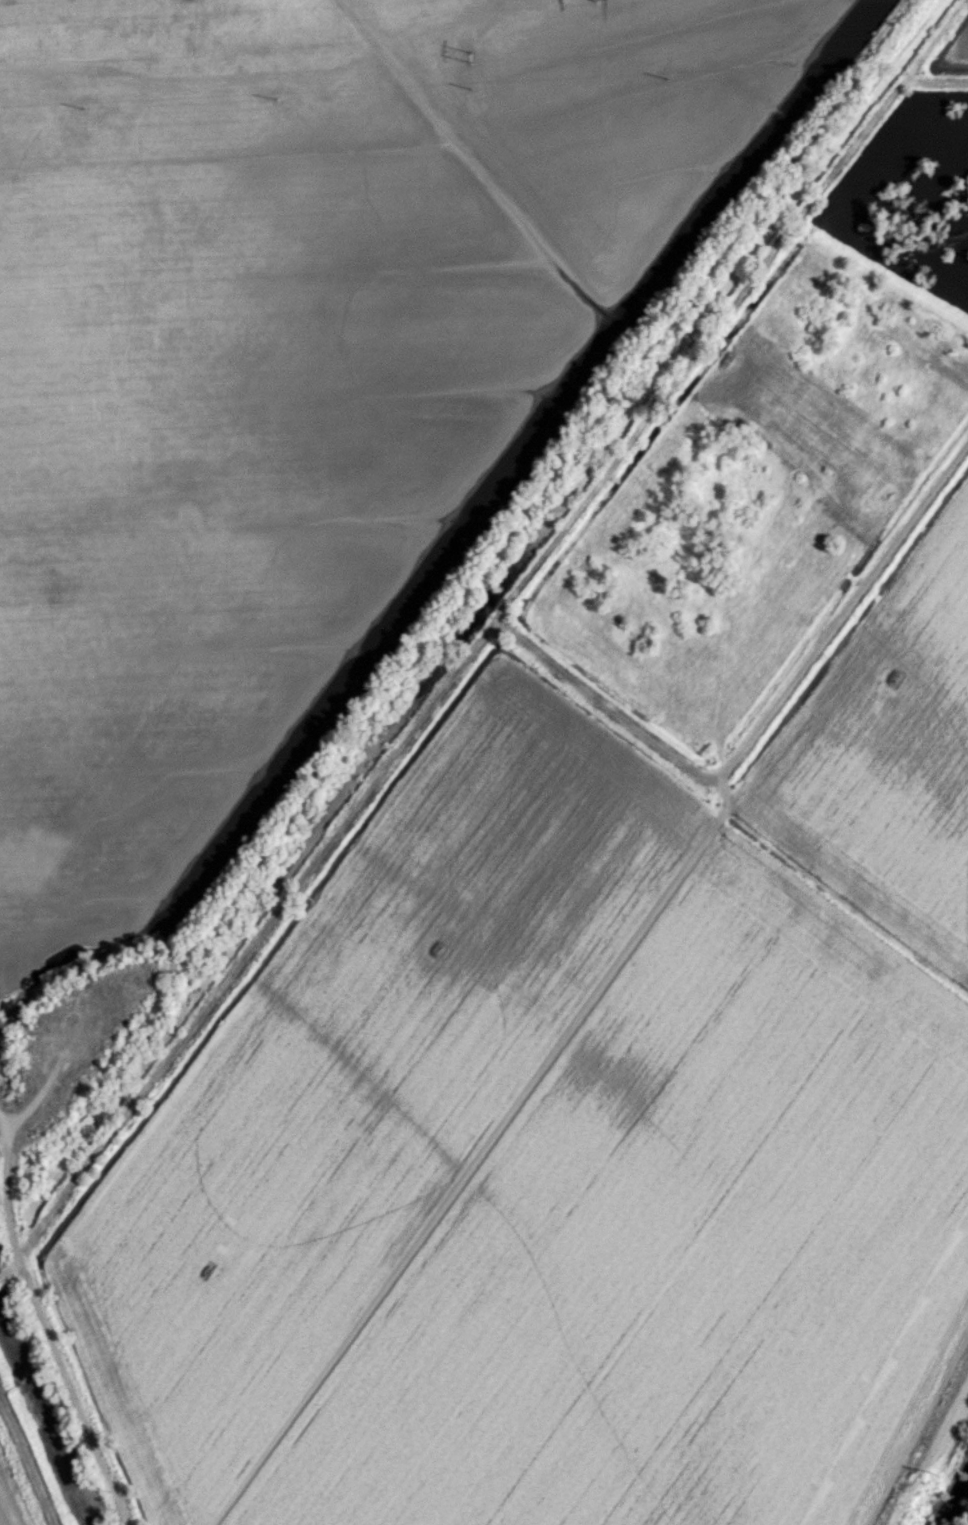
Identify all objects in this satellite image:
power tower: (470, 58)

